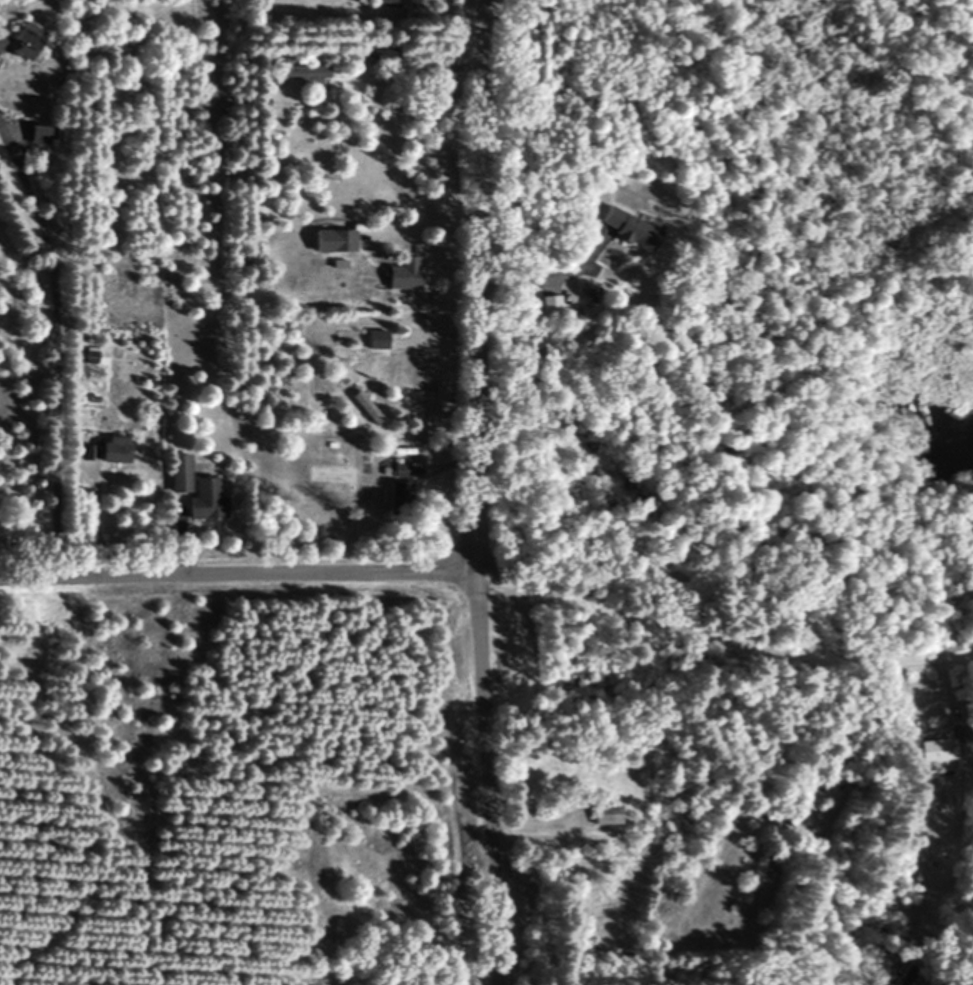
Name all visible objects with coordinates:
building: (354, 1)
building: (412, 4)
building: (20, 41)
building: (295, 75)
road: (415, 79)
building: (35, 135)
building: (623, 229)
building: (330, 242)
building: (399, 275)
road: (542, 278)
building: (547, 307)
building: (373, 340)
road: (60, 346)
building: (91, 356)
building: (362, 407)
building: (109, 449)
building: (193, 490)
road: (474, 492)
building: (396, 498)
road: (238, 574)
road: (723, 637)
building: (925, 746)
building: (603, 815)

